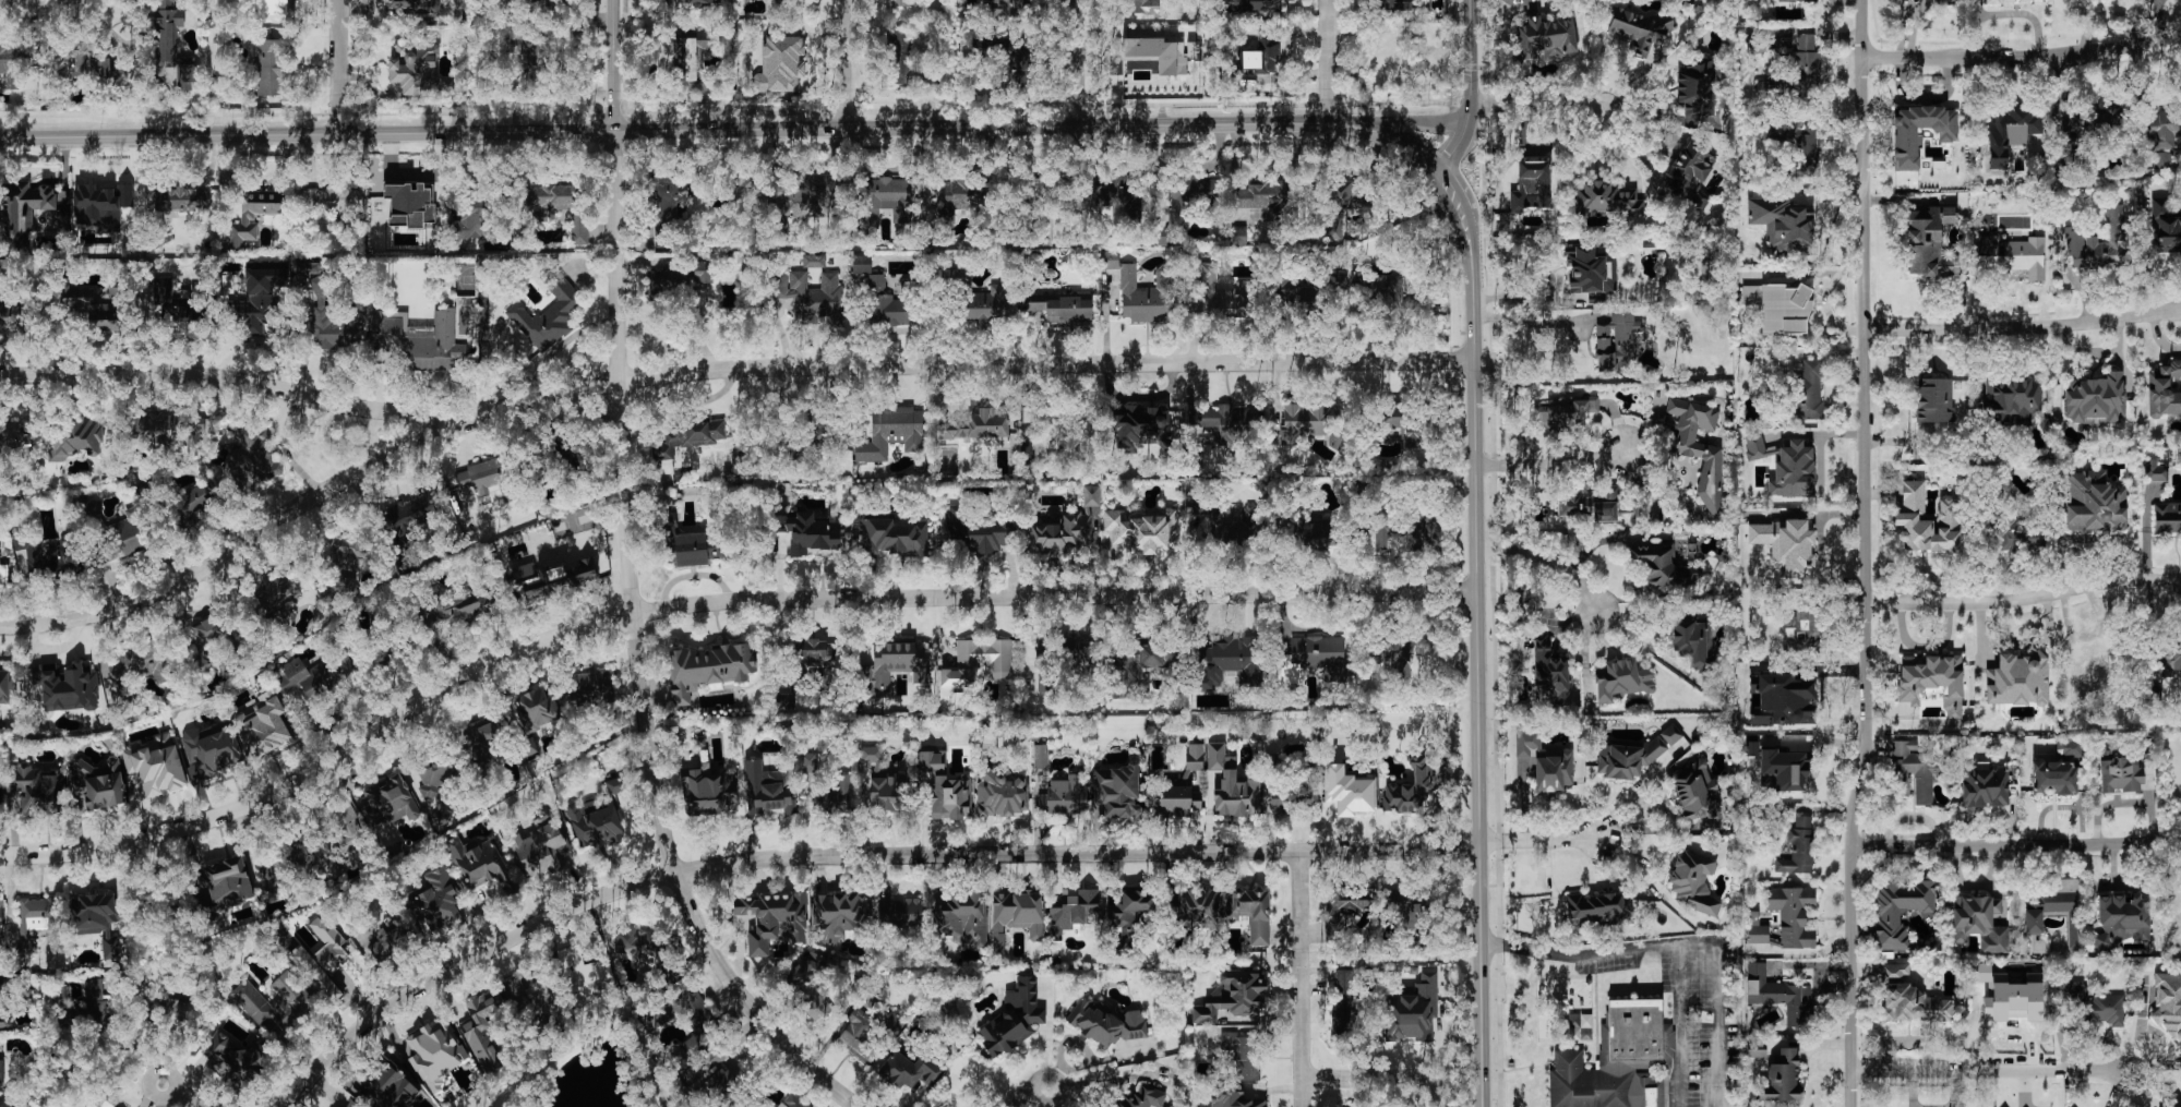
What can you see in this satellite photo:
road: (43, 0)
building: (702, 1)
building: (1797, 1)
building: (2003, 1)
road: (1517, 2)
building: (534, 3)
building: (898, 3)
building: (1393, 4)
building: (1009, 5)
building: (1254, 5)
building: (414, 7)
building: (1143, 7)
building: (271, 8)
building: (1638, 28)
building: (1546, 38)
building: (172, 44)
building: (1158, 53)
building: (696, 55)
road: (2022, 57)
building: (899, 58)
building: (1259, 58)
building: (531, 59)
road: (1328, 60)
road: (1078, 62)
road: (846, 63)
building: (781, 64)
building: (1114, 65)
building: (11, 67)
road: (614, 67)
building: (271, 68)
road: (341, 68)
building: (1016, 68)
building: (85, 69)
building: (416, 69)
building: (1798, 71)
road: (1473, 88)
building: (1697, 89)
road: (1539, 105)
road: (1657, 115)
road: (1340, 121)
road: (1411, 121)
building: (2113, 122)
building: (2072, 125)
road: (664, 131)
building: (1919, 133)
building: (2008, 133)
building: (1798, 145)
building: (2162, 160)
road: (1442, 171)
building: (1687, 171)
building: (1531, 186)
building: (1114, 192)
building: (960, 194)
building: (1265, 196)
building: (1605, 197)
building: (811, 198)
building: (182, 200)
building: (885, 200)
building: (331, 201)
building: (550, 201)
building: (410, 203)
building: (103, 204)
building: (24, 207)
building: (667, 209)
building: (253, 217)
building: (474, 219)
building: (59, 220)
building: (1801, 221)
building: (2165, 228)
building: (579, 229)
building: (1237, 236)
building: (1929, 242)
building: (2098, 243)
building: (2011, 256)
building: (861, 264)
building: (307, 268)
building: (1592, 272)
building: (700, 275)
building: (667, 284)
building: (877, 284)
building: (195, 292)
building: (1143, 292)
building: (812, 296)
building: (1225, 297)
building: (259, 300)
building: (168, 301)
building: (97, 308)
building: (982, 308)
building: (1062, 308)
building: (1779, 308)
building: (890, 310)
building: (549, 314)
building: (9, 317)
building: (335, 324)
road: (1532, 324)
road: (2023, 328)
building: (416, 340)
building: (1617, 342)
road: (963, 366)
road: (230, 380)
building: (1809, 388)
building: (2165, 390)
road: (1136, 399)
building: (1934, 400)
building: (2011, 400)
building: (2095, 400)
building: (1562, 414)
building: (1313, 423)
building: (1398, 426)
building: (978, 428)
building: (1142, 428)
building: (158, 430)
building: (891, 433)
building: (1045, 434)
building: (688, 436)
building: (16, 437)
building: (74, 437)
building: (1699, 448)
building: (254, 454)
road: (1551, 465)
building: (1785, 466)
building: (2155, 471)
building: (482, 480)
building: (1091, 496)
building: (2094, 503)
building: (194, 504)
building: (1587, 505)
building: (1633, 508)
building: (2167, 517)
building: (1927, 521)
building: (1224, 528)
building: (981, 530)
building: (1407, 531)
building: (1142, 532)
building: (1059, 534)
building: (2018, 534)
building: (814, 537)
building: (123, 538)
building: (894, 538)
building: (1786, 545)
road: (238, 549)
building: (695, 550)
road: (1864, 554)
building: (50, 557)
building: (347, 559)
road: (1549, 564)
building: (23, 566)
building: (1663, 566)
building: (3, 575)
building: (553, 578)
building: (277, 597)
road: (2022, 597)
road: (711, 602)
building: (207, 628)
building: (1803, 628)
building: (1694, 641)
building: (1068, 651)
road: (1649, 651)
building: (814, 653)
road: (640, 654)
building: (1389, 658)
building: (1313, 659)
building: (1231, 661)
building: (2171, 662)
building: (1000, 664)
building: (140, 665)
building: (894, 666)
building: (708, 670)
building: (1138, 670)
building: (1550, 674)
building: (305, 677)
building: (1047, 678)
building: (1622, 679)
building: (2018, 679)
building: (1932, 681)
building: (4, 687)
building: (68, 688)
building: (589, 688)
road: (1482, 688)
building: (784, 700)
building: (1783, 700)
building: (537, 709)
building: (263, 725)
building: (486, 741)
building: (212, 748)
building: (2069, 748)
building: (1634, 756)
building: (1040, 757)
building: (1195, 757)
building: (932, 761)
building: (1545, 761)
building: (812, 763)
building: (155, 765)
building: (1786, 769)
building: (1914, 771)
building: (2121, 772)
building: (2053, 778)
building: (884, 783)
building: (98, 784)
building: (615, 785)
building: (1232, 785)
building: (0, 786)
building: (1985, 786)
building: (435, 787)
building: (36, 790)
building: (767, 790)
building: (1411, 790)
building: (706, 791)
building: (1118, 791)
building: (1347, 792)
building: (1695, 792)
road: (1625, 793)
building: (1000, 795)
building: (834, 796)
building: (950, 797)
building: (1064, 797)
building: (1295, 798)
building: (390, 803)
building: (598, 827)
road: (1539, 839)
road: (2014, 844)
building: (1799, 847)
road: (849, 856)
building: (478, 863)
building: (273, 876)
building: (1692, 881)
building: (436, 902)
building: (1353, 902)
building: (1194, 910)
building: (1404, 910)
building: (1598, 910)
building: (2056, 910)
building: (1072, 911)
building: (1131, 911)
building: (1900, 911)
building: (900, 913)
building: (1251, 913)
building: (2176, 914)
building: (839, 915)
building: (1, 916)
building: (1793, 916)
building: (962, 917)
building: (774, 919)
building: (96, 921)
building: (36, 922)
building: (1979, 923)
building: (1758, 935)
building: (385, 943)
road: (1700, 943)
building: (636, 946)
road: (1582, 955)
building: (322, 960)
building: (1895, 970)
building: (586, 976)
road: (1303, 979)
building: (811, 985)
building: (1343, 989)
building: (1779, 996)
building: (2006, 996)
building: (524, 997)
building: (1233, 999)
building: (275, 1003)
building: (2168, 1003)
building: (82, 1004)
building: (1917, 1004)
building: (2097, 1006)
building: (695, 1011)
building: (1413, 1011)
building: (1014, 1019)
building: (1105, 1023)
building: (1343, 1024)
building: (481, 1033)
building: (861, 1038)
building: (435, 1055)
building: (1243, 1055)
building: (236, 1059)
building: (1619, 1061)
building: (909, 1071)
road: (1991, 1073)
building: (1, 1074)
building: (1782, 1076)
road: (1363, 1079)
road: (178, 1080)
building: (721, 1082)
building: (394, 1083)
road: (1022, 1096)
road: (1036, 1098)
building: (1141, 1098)
building: (1233, 1098)
road: (190, 1099)
building: (101, 1100)
building: (4, 1102)
building: (793, 1102)
building: (353, 1105)
building: (19, 1106)

